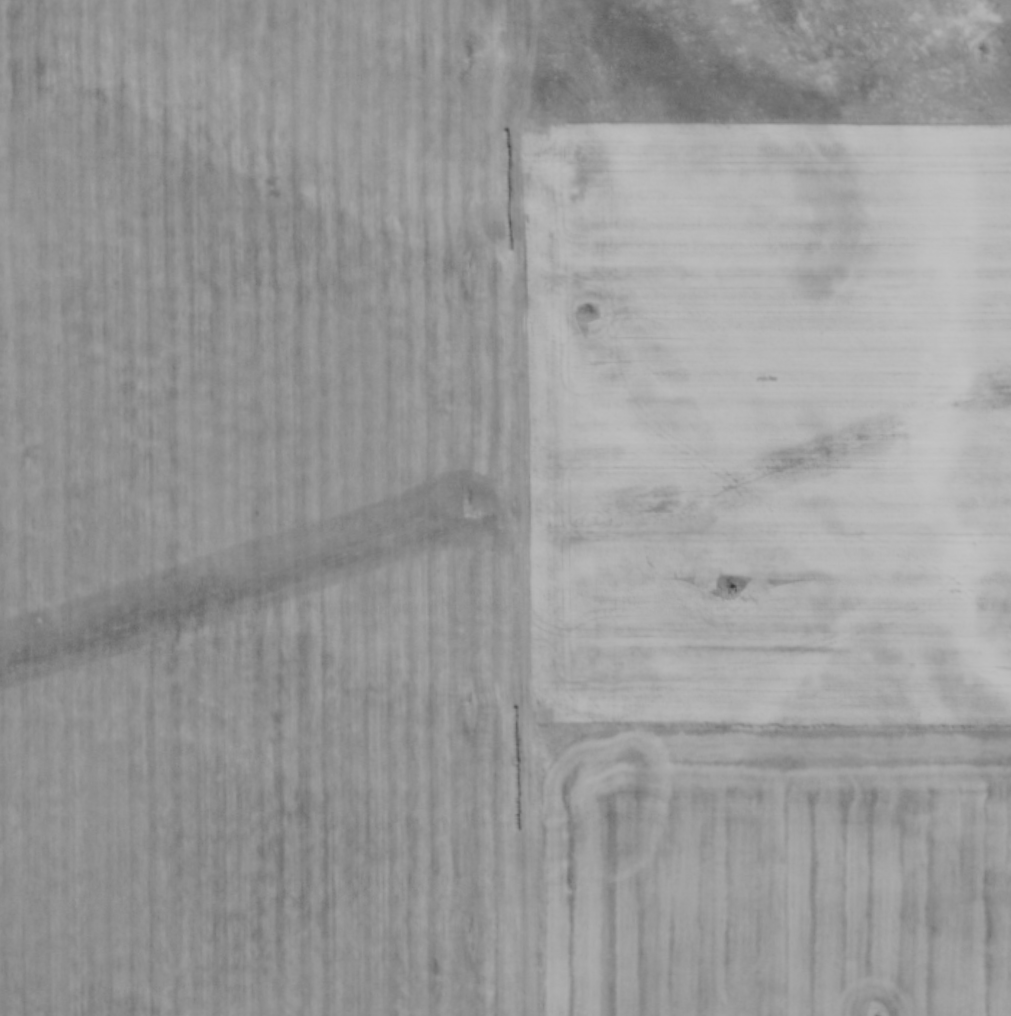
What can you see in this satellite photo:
road: (519, 506)

